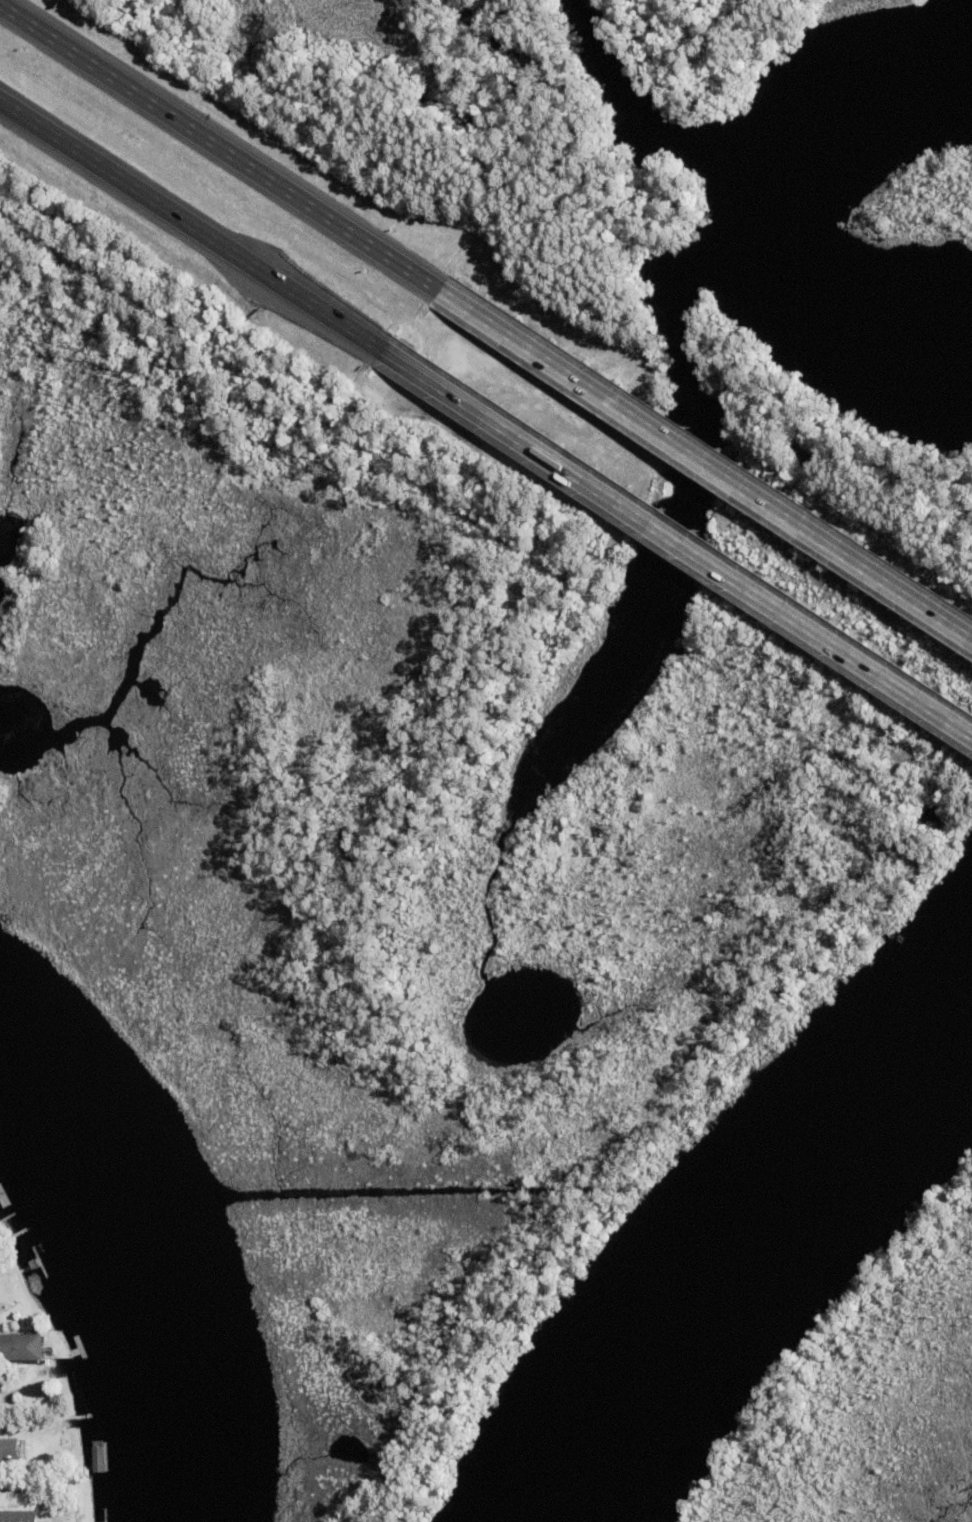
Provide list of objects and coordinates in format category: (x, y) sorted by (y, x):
road: (221, 142)
road: (198, 234)
road: (706, 456)
road: (685, 551)
river: (758, 1255)
river: (140, 1276)
building: (1, 1287)
building: (19, 1349)
building: (11, 1429)
building: (13, 1451)
building: (100, 1461)
building: (24, 1517)

